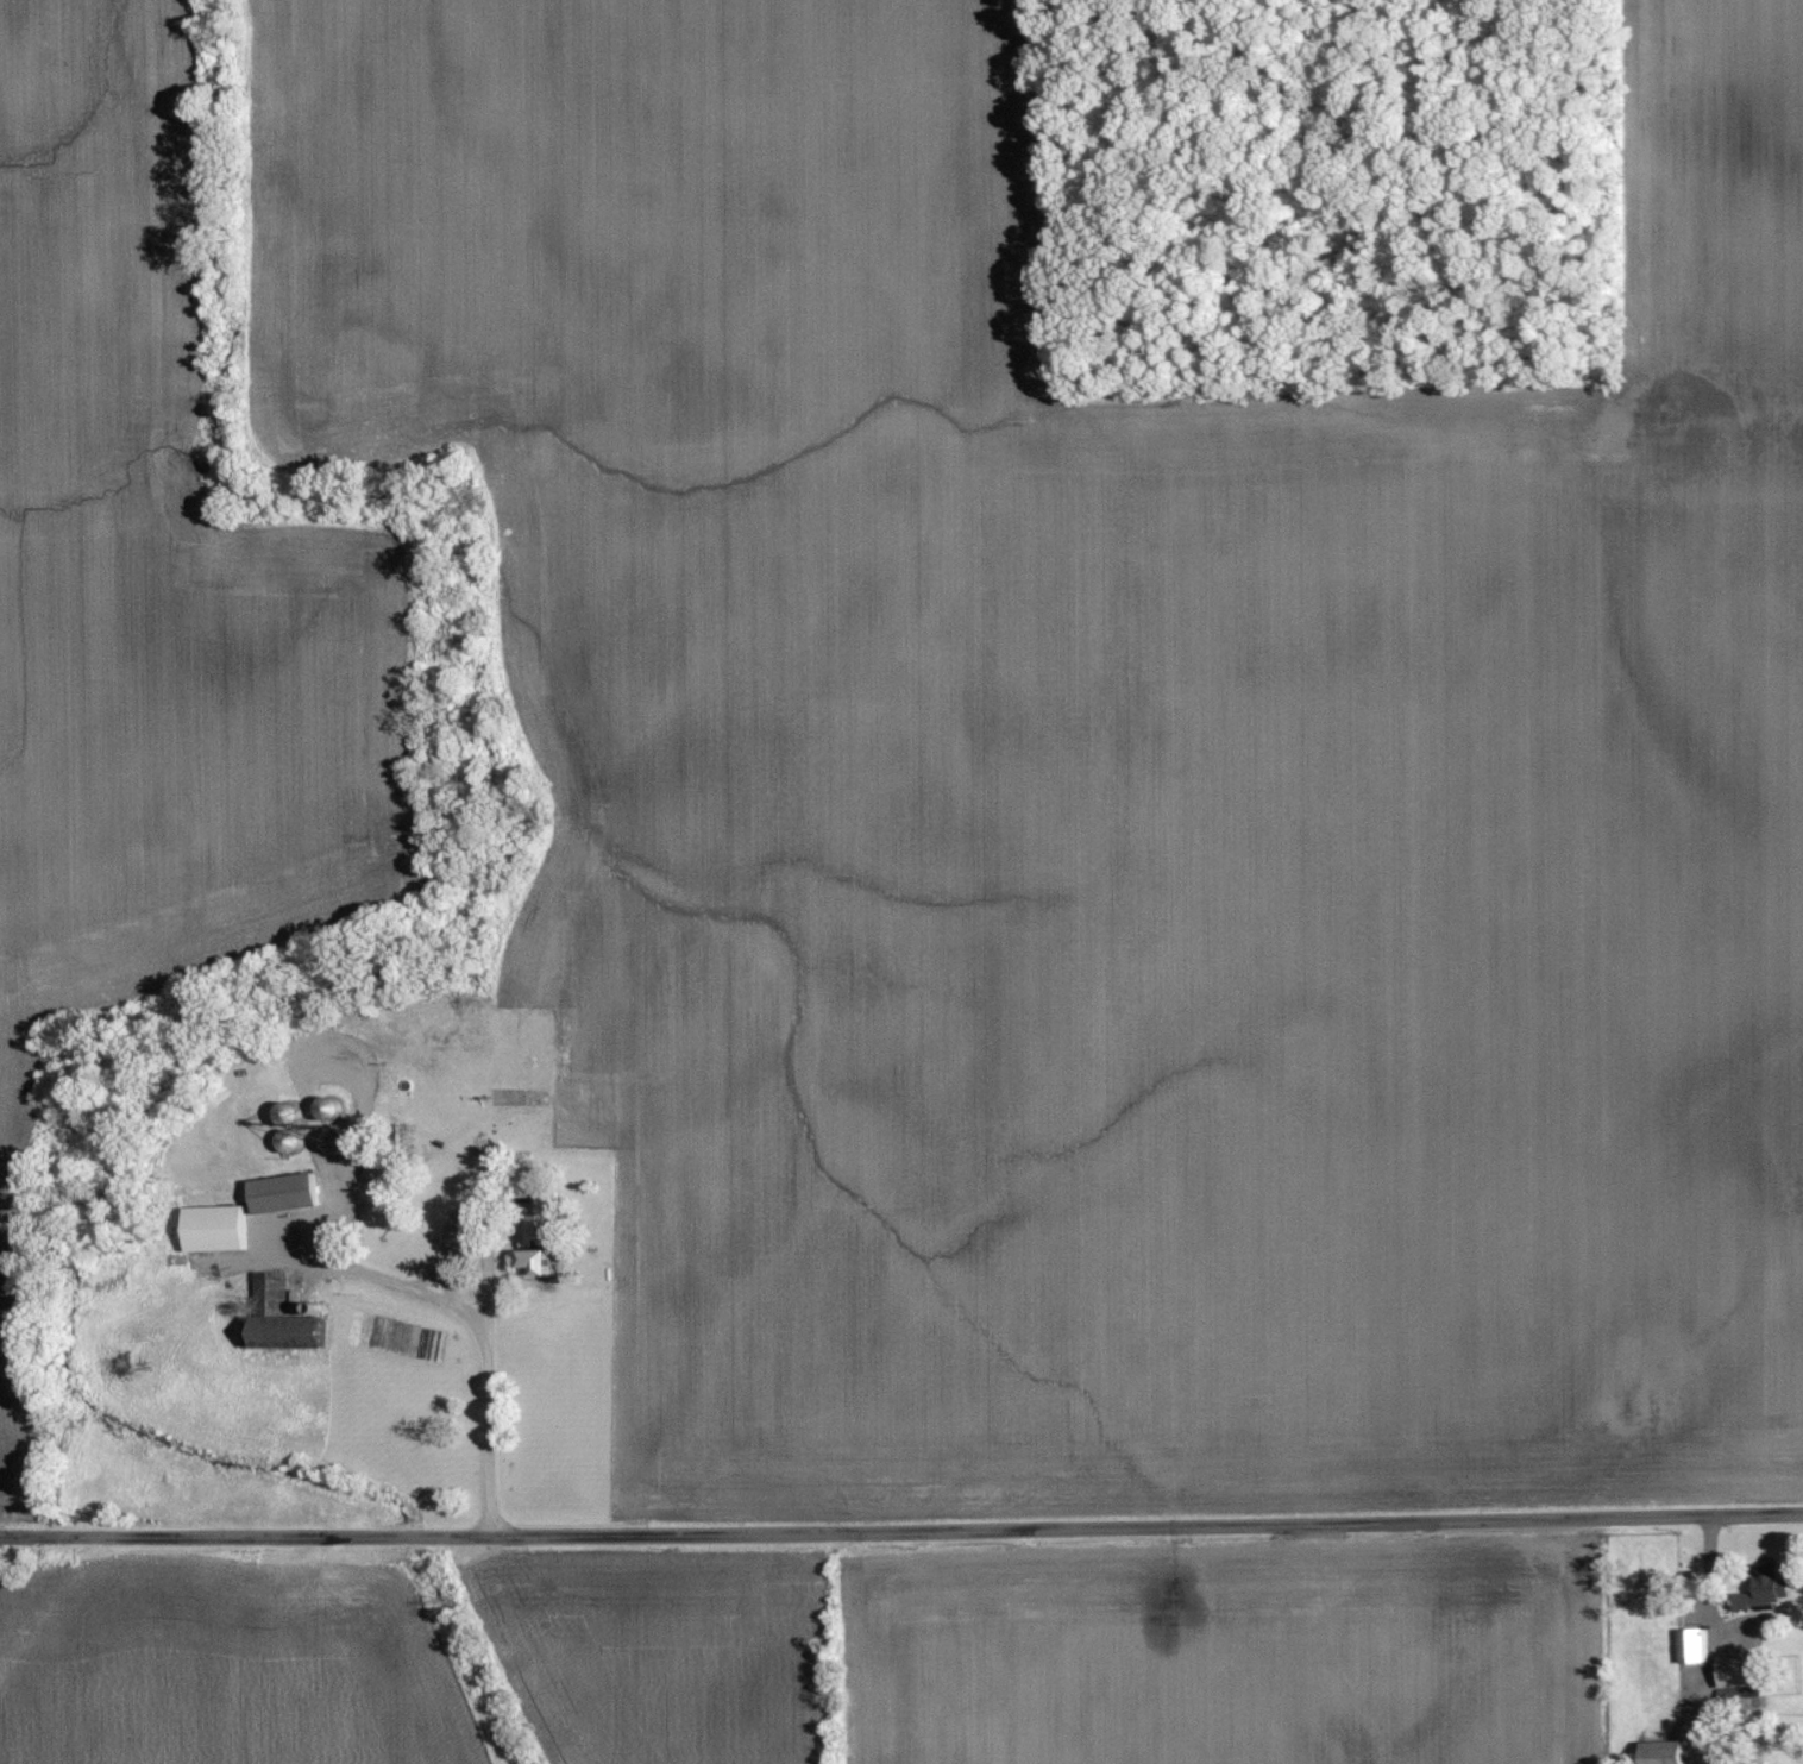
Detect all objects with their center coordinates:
crop: (152, 604)
crop: (1714, 748)
crop: (988, 787)
silo: (333, 1105)
silo: (293, 1111)
building: (299, 1111)
road: (359, 1117)
road: (315, 1123)
silo: (293, 1137)
building: (340, 1137)
silo: (340, 1137)
building: (287, 1191)
road: (513, 1201)
road: (489, 1204)
road: (347, 1205)
road: (456, 1214)
building: (220, 1225)
building: (542, 1232)
road: (446, 1273)
road: (428, 1279)
road: (490, 1280)
road: (408, 1286)
building: (295, 1299)
silo: (322, 1306)
building: (283, 1319)
road: (491, 1442)
road: (901, 1530)
building: (1765, 1592)
road: (1716, 1595)
road: (1700, 1608)
crop: (659, 1643)
building: (1692, 1643)
crop: (1212, 1644)
crop: (221, 1653)
building: (1741, 1675)
building: (1665, 1751)

